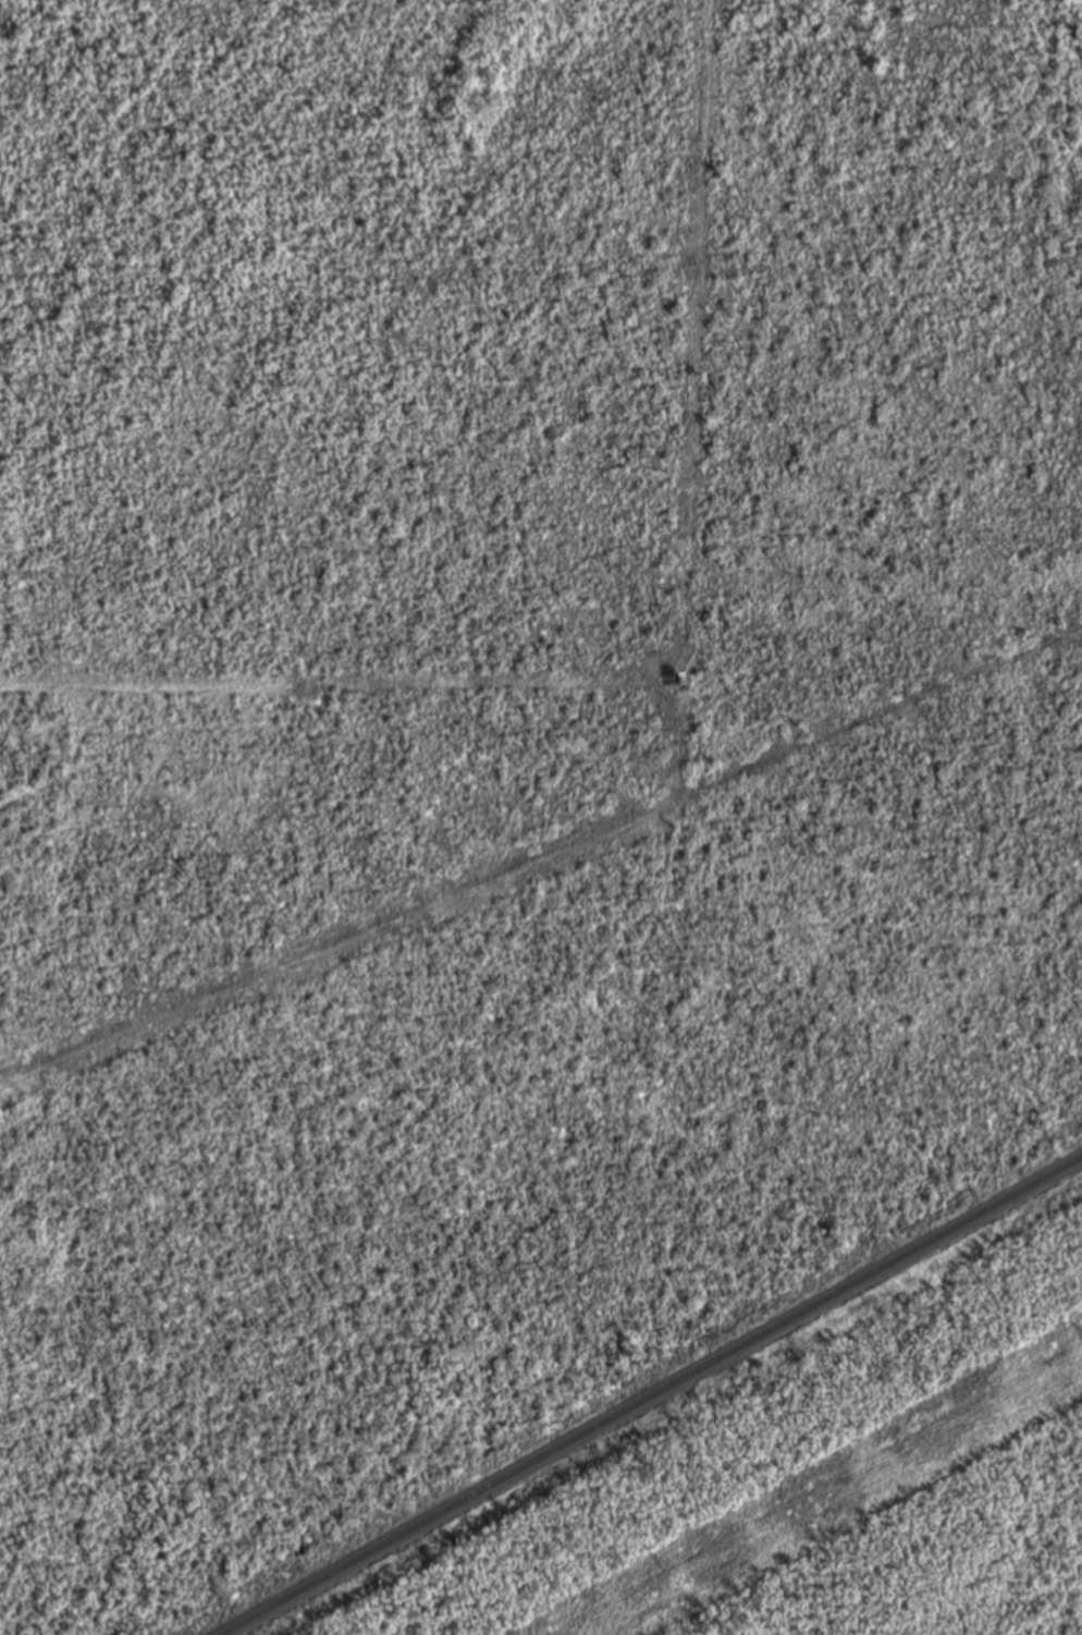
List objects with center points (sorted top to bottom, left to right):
railway: (650, 1393)
power tower: (687, 1575)

